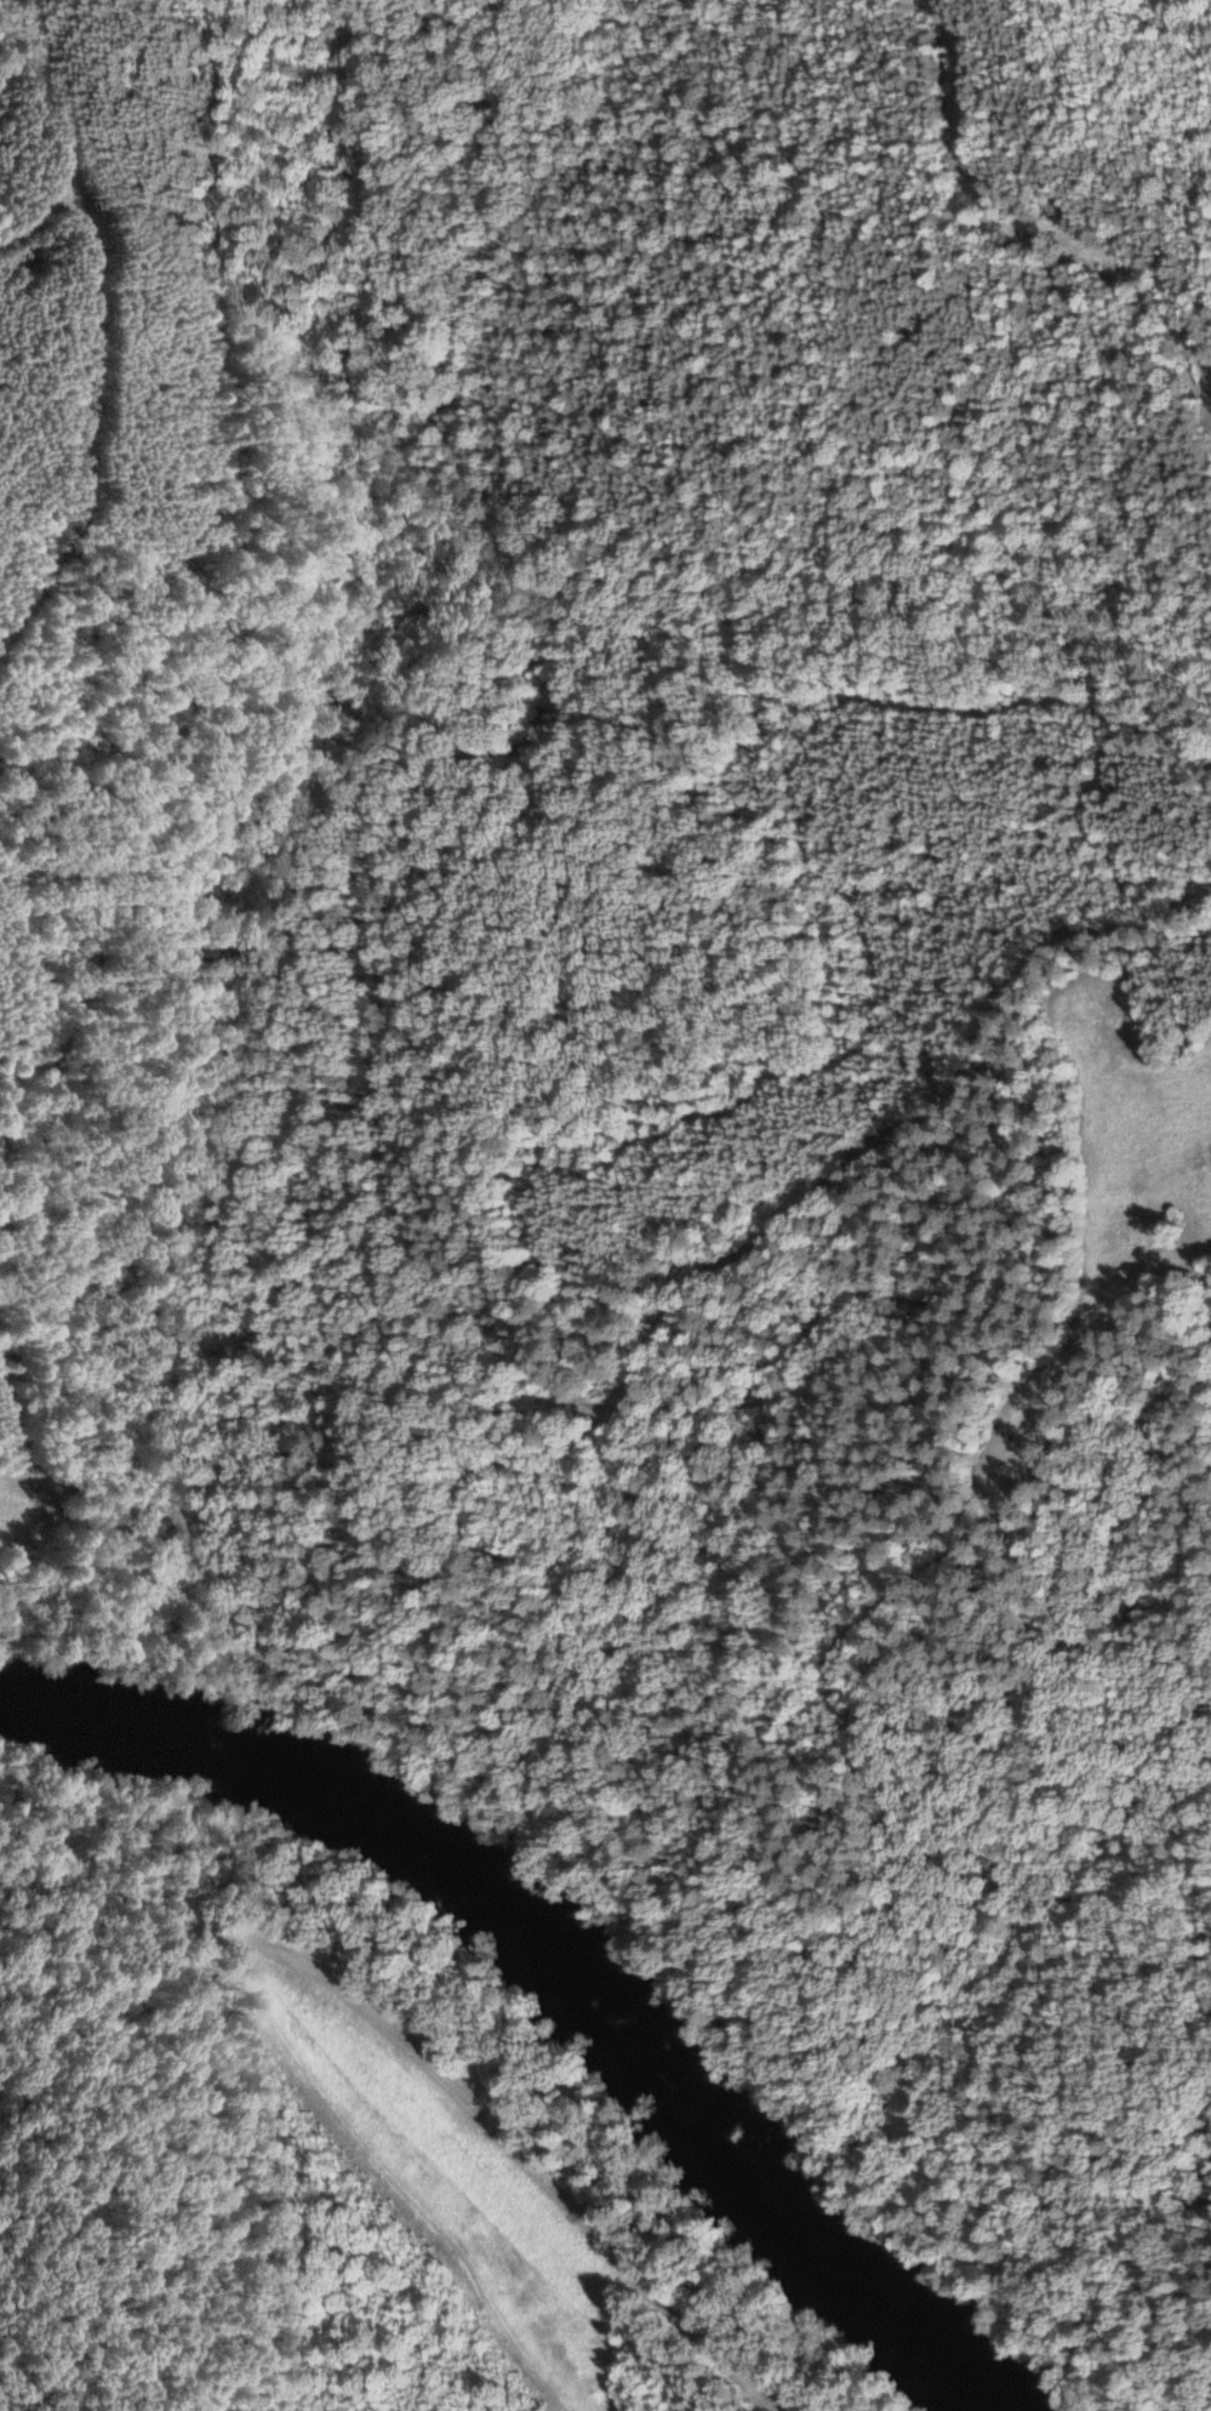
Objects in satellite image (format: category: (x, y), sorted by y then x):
river: (571, 1955)

